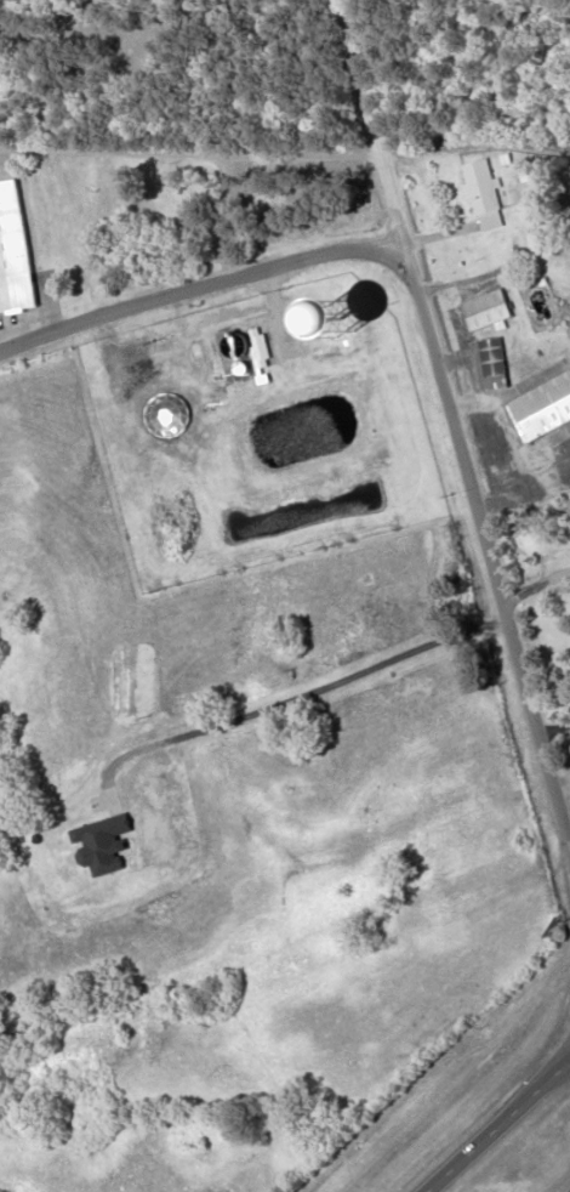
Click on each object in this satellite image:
building: (484, 193)
building: (16, 249)
road: (200, 286)
building: (485, 310)
water tower: (342, 322)
building: (494, 362)
building: (541, 405)
road: (461, 414)
road: (500, 1126)

